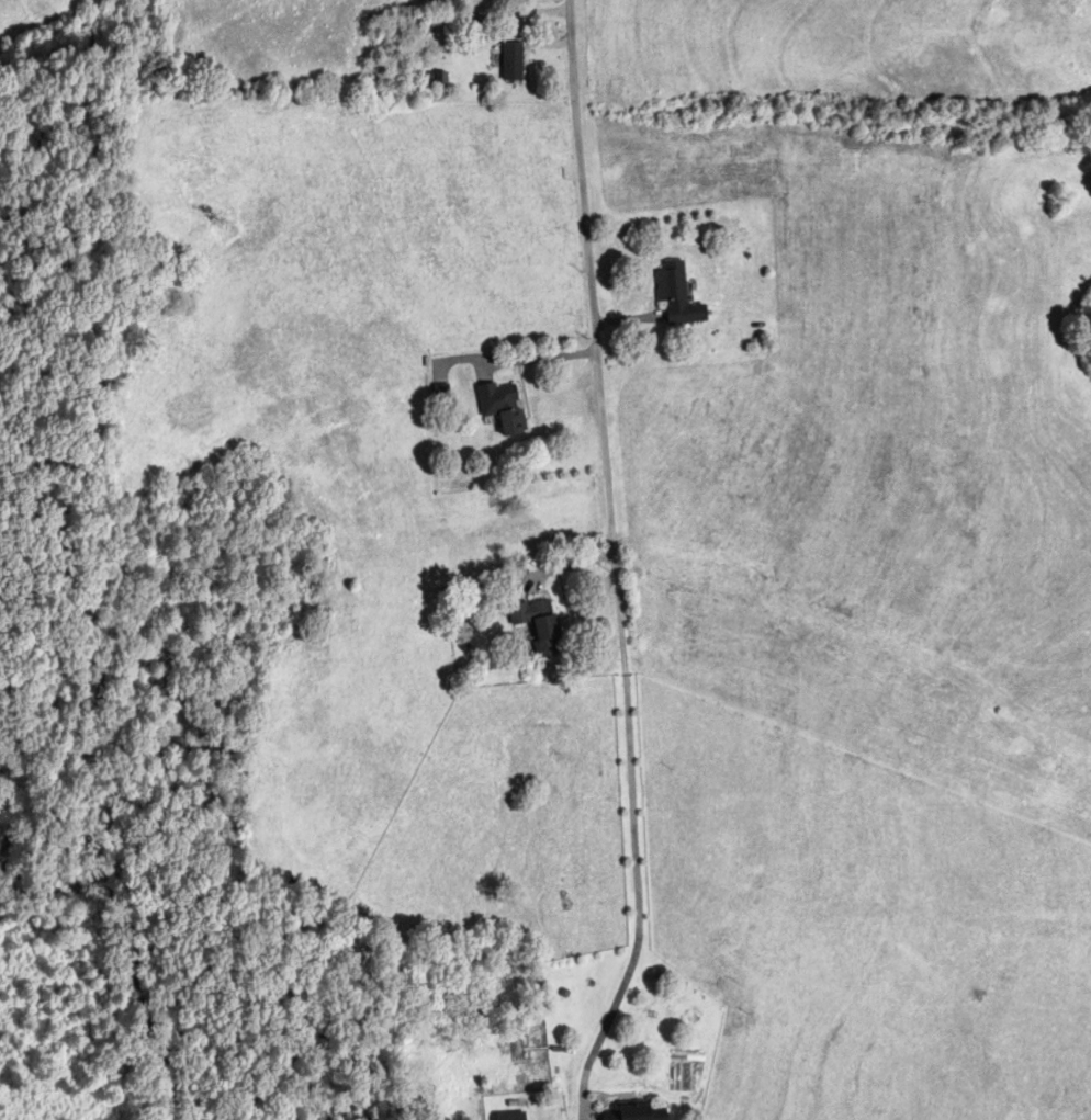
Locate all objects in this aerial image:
building: (511, 61)
building: (677, 295)
road: (598, 332)
road: (544, 357)
building: (503, 407)
building: (539, 625)
road: (638, 897)
building: (636, 1113)
building: (511, 1117)

